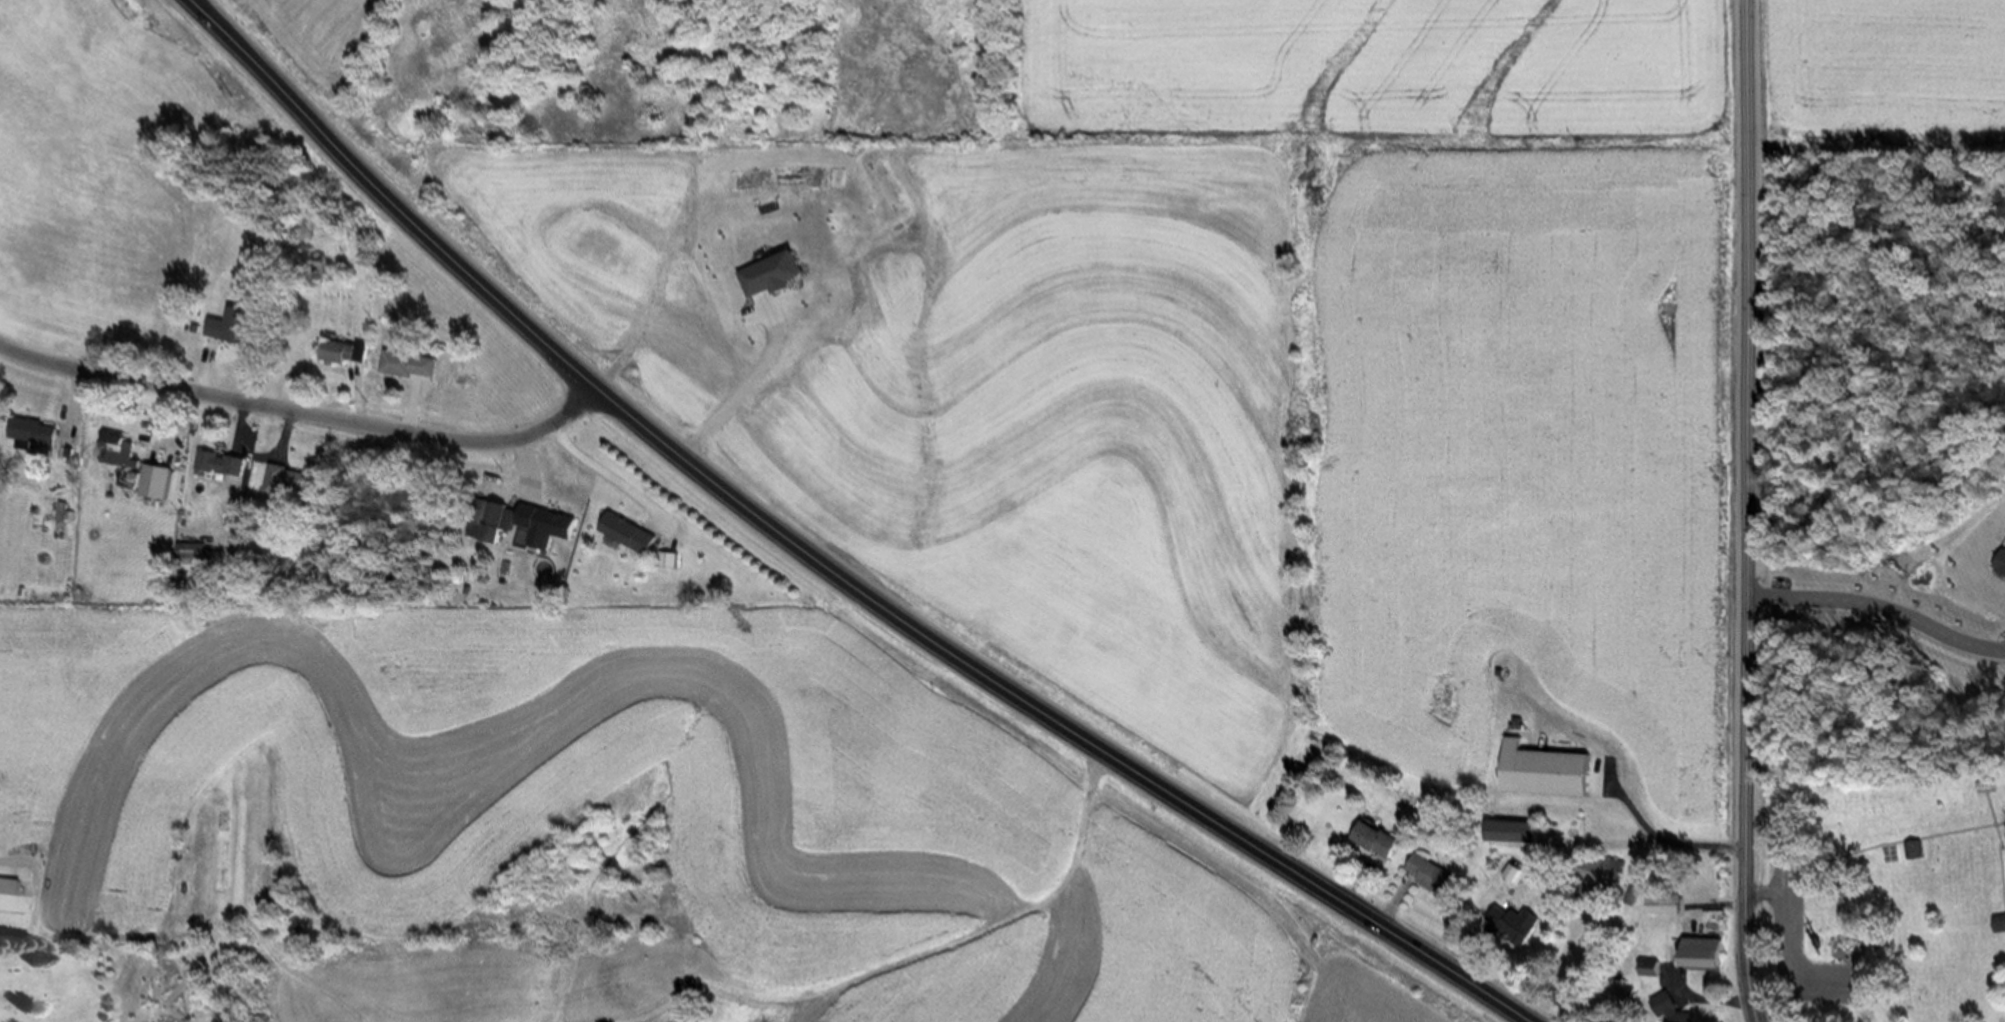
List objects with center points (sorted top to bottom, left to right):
building: (269, 309)
building: (235, 326)
building: (345, 348)
building: (414, 359)
road: (209, 362)
road: (269, 368)
road: (362, 393)
road: (415, 401)
road: (77, 404)
road: (306, 411)
road: (172, 419)
road: (242, 424)
building: (38, 432)
road: (290, 432)
building: (125, 450)
building: (216, 458)
building: (244, 462)
building: (134, 477)
building: (164, 480)
building: (292, 480)
road: (616, 481)
road: (523, 485)
road: (1750, 511)
building: (495, 518)
building: (555, 520)
building: (633, 531)
building: (199, 549)
building: (673, 557)
road: (825, 563)
building: (2002, 566)
road: (1880, 610)
building: (1558, 771)
building: (1303, 774)
building: (1989, 784)
road: (1633, 797)
building: (1517, 828)
building: (1379, 835)
road: (1895, 841)
road: (2000, 845)
building: (1919, 848)
building: (1434, 870)
building: (1619, 875)
road: (1767, 891)
parking lot: (1790, 898)
park: (1879, 898)
building: (1667, 900)
building: (2001, 921)
building: (1515, 924)
building: (1707, 948)
road: (1786, 952)
building: (1655, 964)
building: (1621, 989)
building: (1675, 1008)

